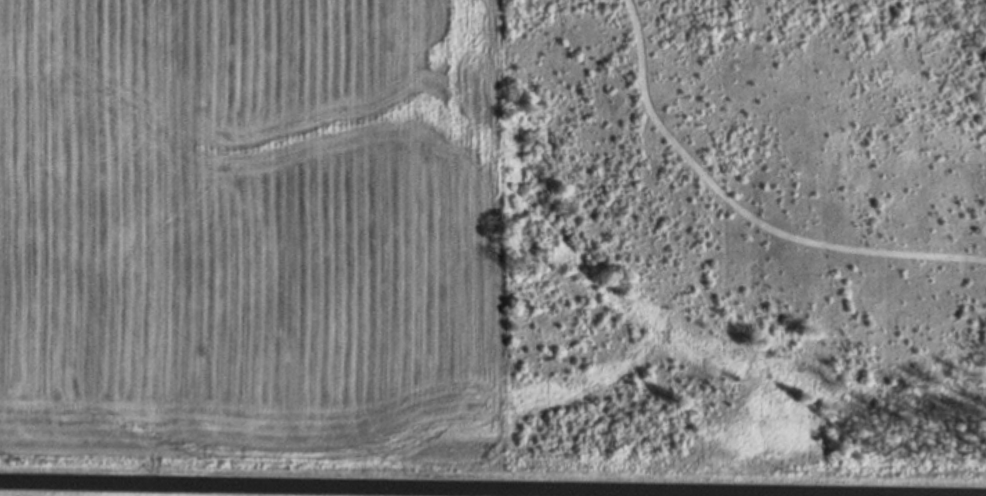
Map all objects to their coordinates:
road: (493, 485)
road: (509, 491)

